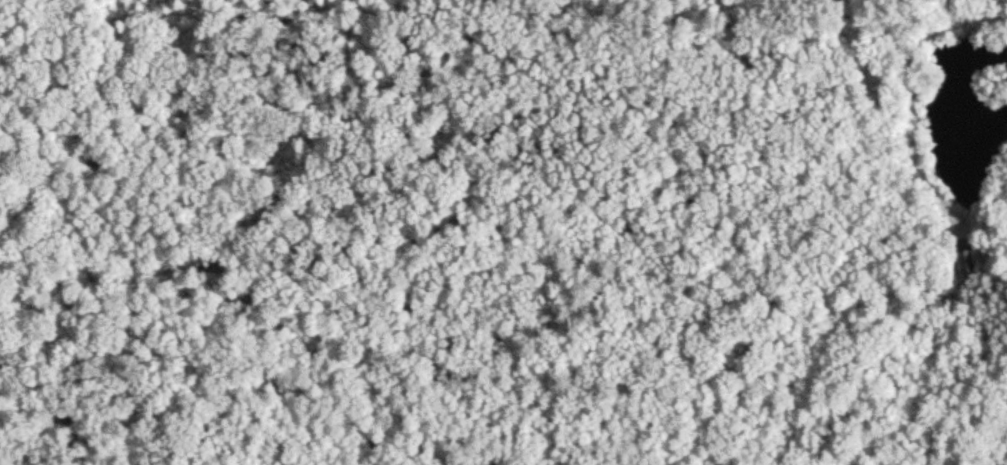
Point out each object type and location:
building: (962, 262)

